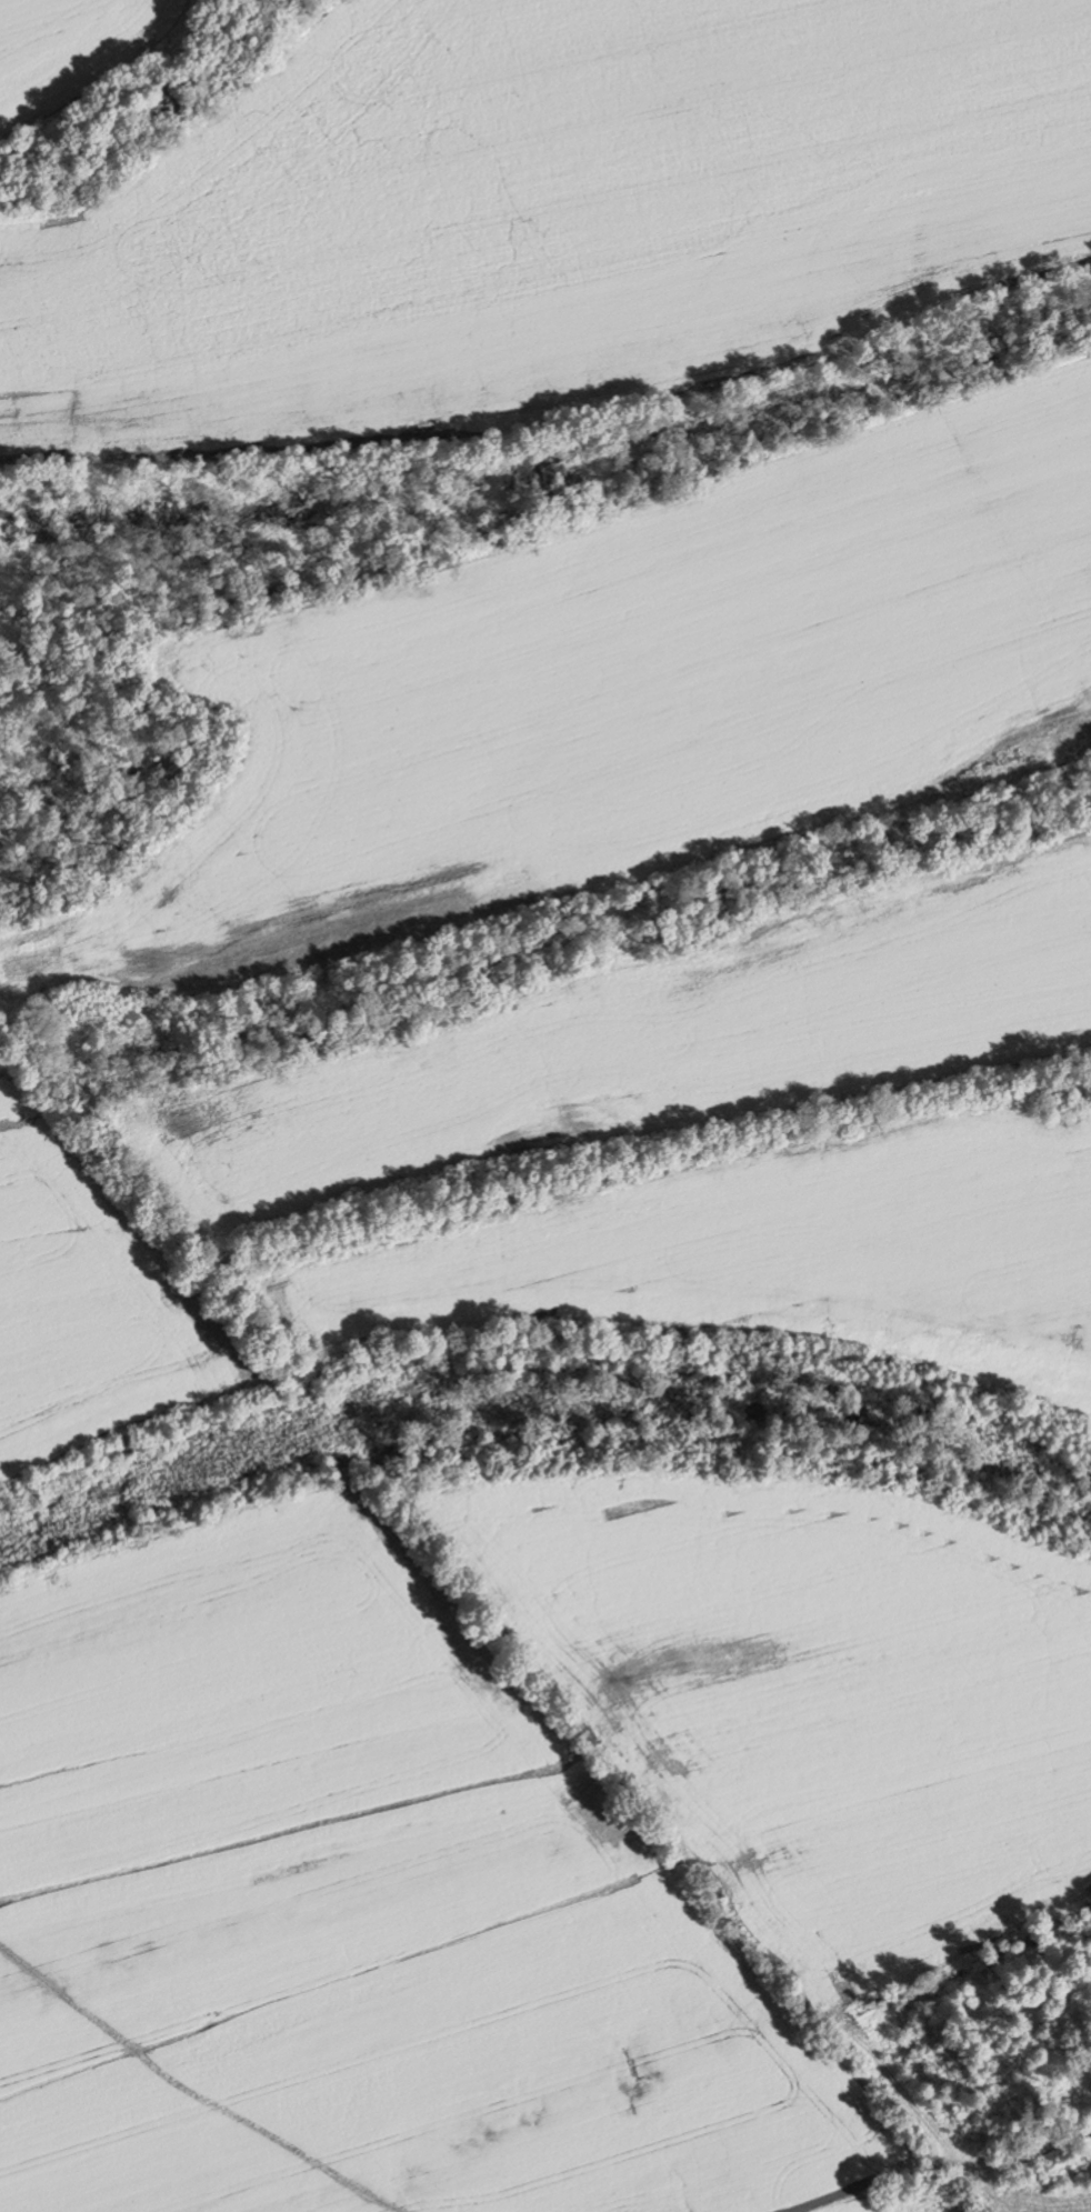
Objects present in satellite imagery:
road: (963, 2164)
road: (815, 2204)

